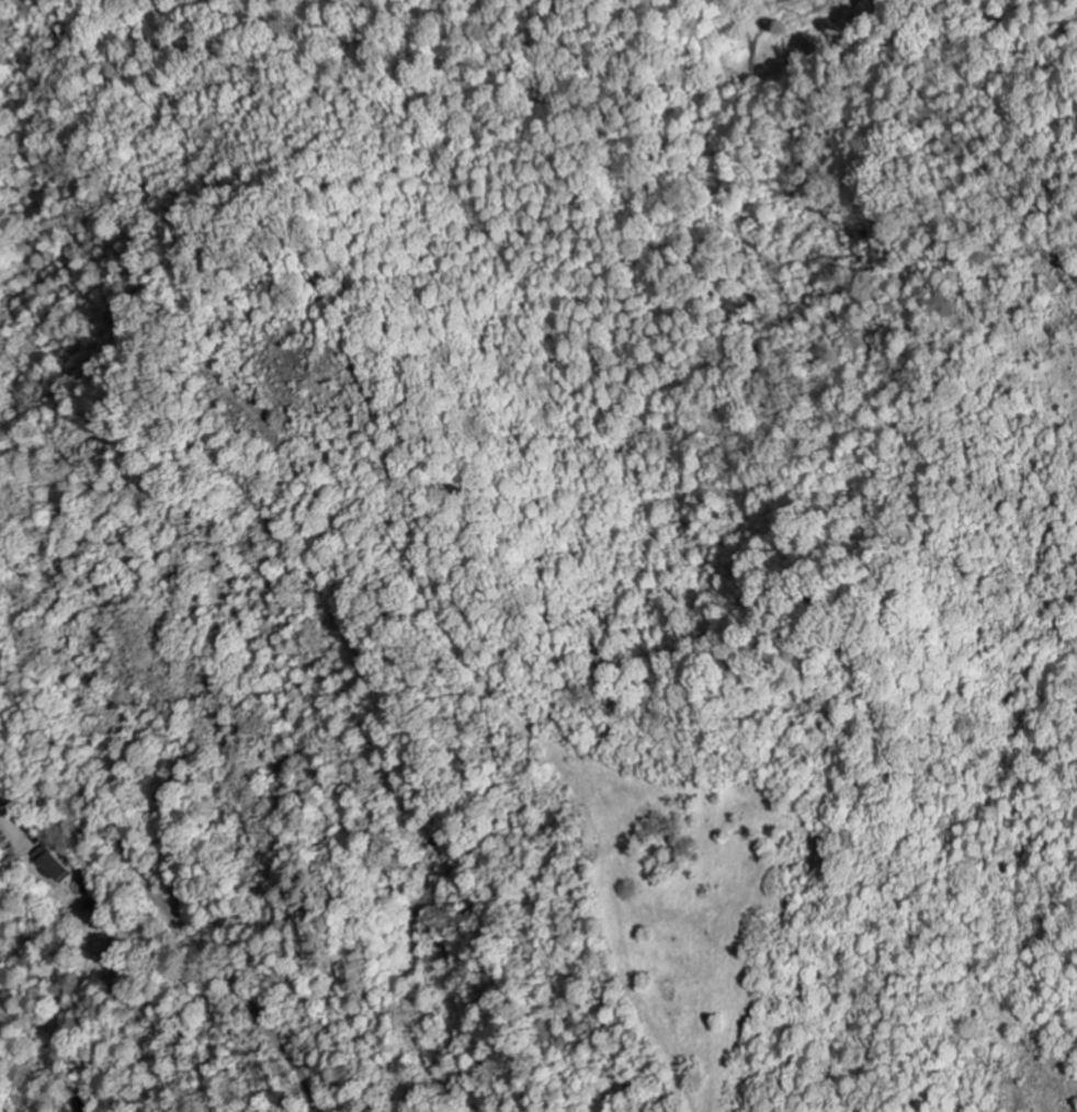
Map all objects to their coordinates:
building: (56, 865)

